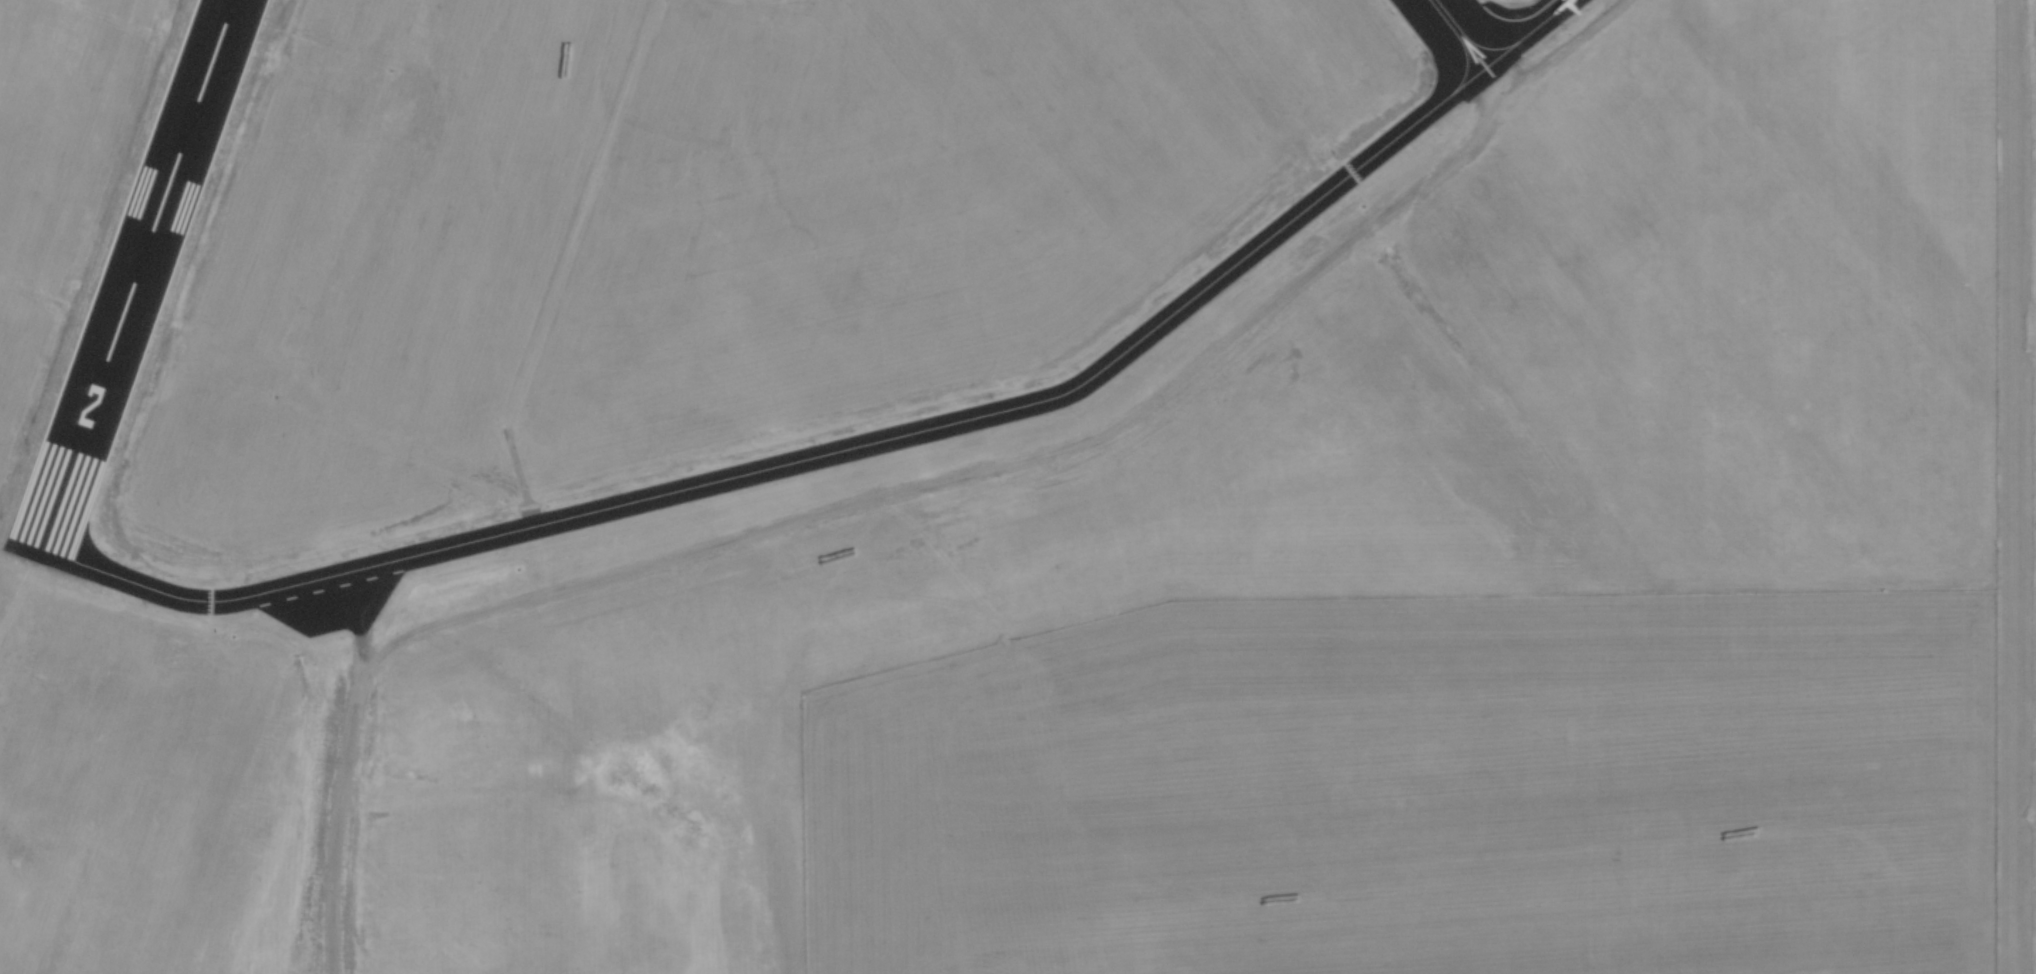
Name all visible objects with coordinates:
airport runway: (1460, 38)
airport runway: (129, 282)
airport taxiway: (857, 445)
road: (1047, 452)
airport: (1018, 487)
road: (336, 798)

